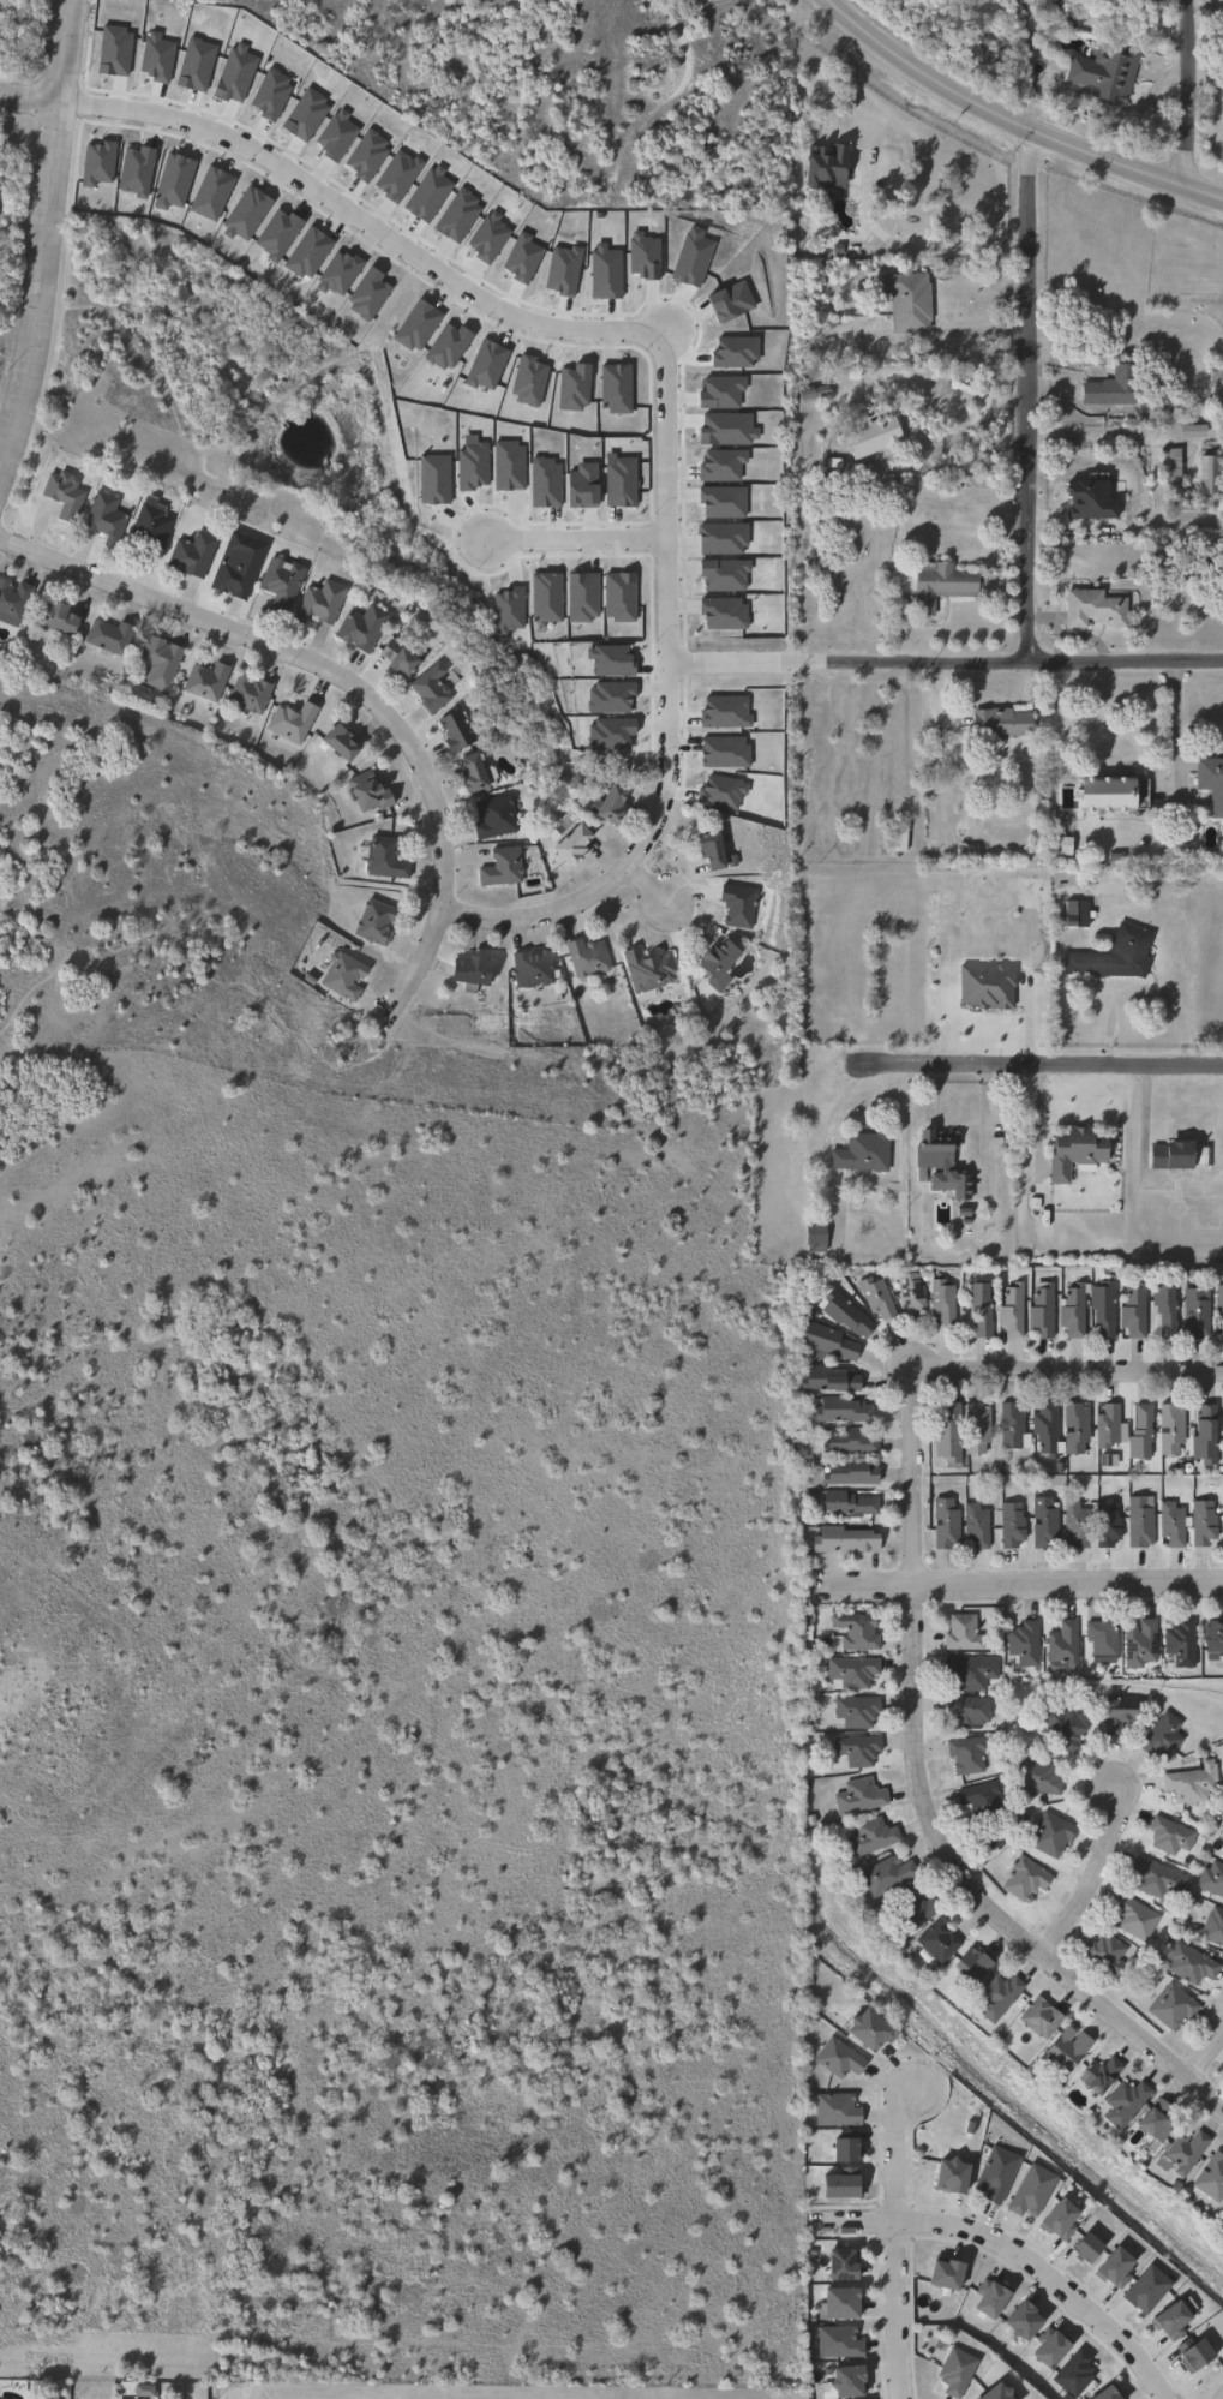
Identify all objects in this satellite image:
building: (1038, 2)
building: (1107, 72)
road: (1182, 92)
road: (30, 98)
road: (1013, 122)
building: (820, 163)
road: (364, 216)
road: (44, 238)
road: (911, 246)
building: (910, 301)
building: (1115, 384)
building: (815, 393)
road: (1029, 395)
road: (975, 413)
building: (875, 436)
building: (1173, 465)
building: (1212, 472)
building: (65, 493)
building: (106, 516)
building: (152, 530)
road: (575, 537)
building: (192, 554)
building: (239, 563)
building: (283, 581)
building: (943, 582)
building: (13, 600)
building: (322, 600)
building: (1097, 606)
building: (60, 615)
building: (365, 626)
building: (110, 635)
building: (402, 657)
road: (943, 660)
building: (160, 662)
building: (208, 680)
road: (356, 683)
building: (432, 688)
building: (251, 693)
road: (666, 706)
building: (294, 720)
building: (1002, 723)
road: (1170, 726)
building: (458, 729)
building: (343, 741)
building: (476, 771)
building: (1212, 782)
building: (1115, 791)
building: (371, 792)
building: (616, 803)
building: (496, 816)
building: (900, 837)
building: (577, 843)
building: (715, 850)
building: (388, 859)
building: (503, 867)
road: (647, 880)
building: (739, 904)
building: (1079, 913)
building: (376, 921)
building: (1116, 955)
building: (589, 957)
building: (724, 958)
building: (534, 968)
building: (651, 969)
building: (476, 973)
building: (344, 975)
road: (1141, 988)
road: (1037, 1063)
road: (983, 1120)
building: (939, 1149)
building: (1079, 1150)
building: (864, 1151)
building: (1181, 1155)
building: (964, 1186)
building: (817, 1238)
building: (912, 1293)
building: (1221, 1296)
building: (879, 1298)
building: (942, 1300)
building: (982, 1308)
building: (1167, 1308)
building: (1105, 1309)
building: (1013, 1310)
building: (1044, 1310)
building: (1075, 1310)
building: (1137, 1311)
building: (846, 1312)
building: (1199, 1314)
building: (831, 1341)
building: (831, 1381)
building: (844, 1411)
building: (1221, 1424)
building: (1110, 1426)
building: (1014, 1428)
building: (1078, 1428)
building: (978, 1429)
building: (1173, 1429)
building: (1049, 1430)
building: (951, 1434)
building: (1144, 1434)
building: (1206, 1436)
building: (852, 1442)
building: (851, 1473)
building: (850, 1502)
building: (947, 1522)
building: (1047, 1522)
building: (1143, 1522)
building: (1206, 1522)
building: (978, 1524)
building: (1079, 1524)
building: (1174, 1524)
building: (1014, 1525)
building: (1110, 1525)
road: (910, 1527)
building: (847, 1539)
road: (1066, 1584)
road: (858, 1587)
building: (858, 1631)
building: (965, 1632)
building: (1215, 1634)
building: (1107, 1635)
building: (1183, 1640)
building: (1026, 1641)
building: (1143, 1641)
building: (802, 1643)
building: (1066, 1643)
building: (853, 1670)
building: (972, 1670)
building: (971, 1709)
building: (858, 1710)
building: (1121, 1712)
building: (1066, 1725)
building: (1164, 1735)
building: (859, 1748)
building: (969, 1753)
building: (1039, 1777)
building: (1194, 1782)
building: (862, 1795)
building: (983, 1797)
building: (1053, 1832)
building: (1171, 1835)
building: (874, 1836)
building: (1222, 1854)
building: (888, 1875)
building: (1159, 1877)
building: (1027, 1878)
building: (1212, 1878)
road: (1092, 1879)
building: (918, 1910)
building: (1138, 1916)
building: (1215, 1925)
building: (940, 1940)
building: (1109, 1954)
building: (1193, 1963)
building: (978, 1964)
building: (1001, 1996)
building: (1175, 2005)
building: (1043, 2017)
road: (1133, 2027)
building: (862, 2032)
road: (1203, 2040)
building: (1069, 2051)
building: (833, 2059)
building: (1101, 2076)
building: (1127, 2102)
building: (832, 2111)
building: (1161, 2123)
building: (840, 2149)
building: (1186, 2150)
building: (991, 2172)
building: (943, 2174)
building: (1212, 2177)
building: (835, 2188)
building: (1027, 2189)
building: (1053, 2216)
road: (893, 2241)
building: (1080, 2245)
road: (1011, 2251)
building: (834, 2262)
building: (1108, 2266)
building: (939, 2272)
building: (1143, 2287)
building: (984, 2297)
building: (833, 2302)
building: (1168, 2316)
building: (1017, 2319)
building: (833, 2341)
building: (1044, 2346)
building: (1188, 2351)
building: (951, 2370)
building: (1071, 2373)
building: (840, 2379)
road: (234, 2389)
building: (989, 2392)
building: (1101, 2393)

